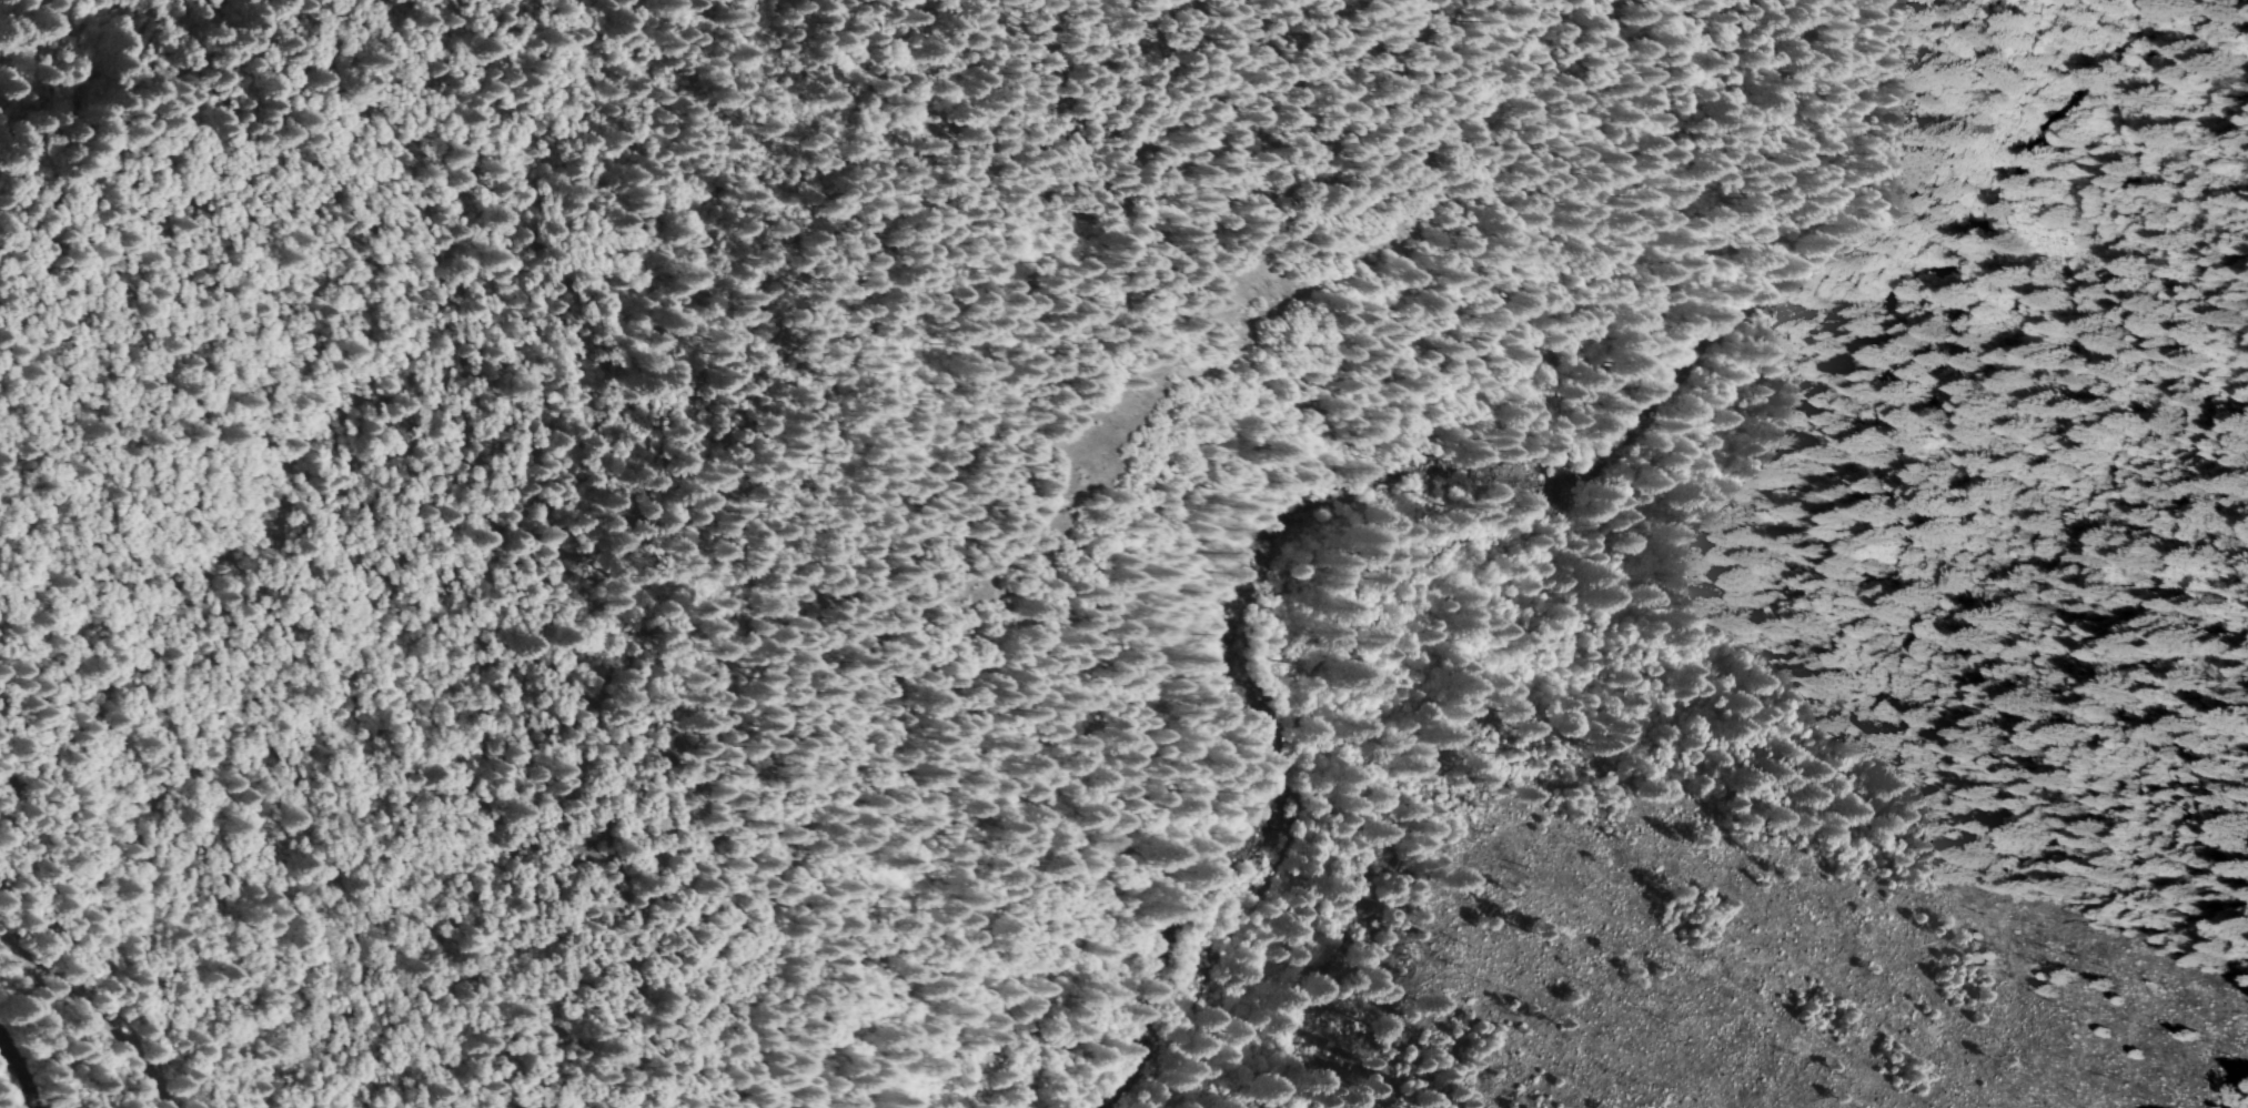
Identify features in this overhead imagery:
road: (69, 1015)
river: (2, 1105)

